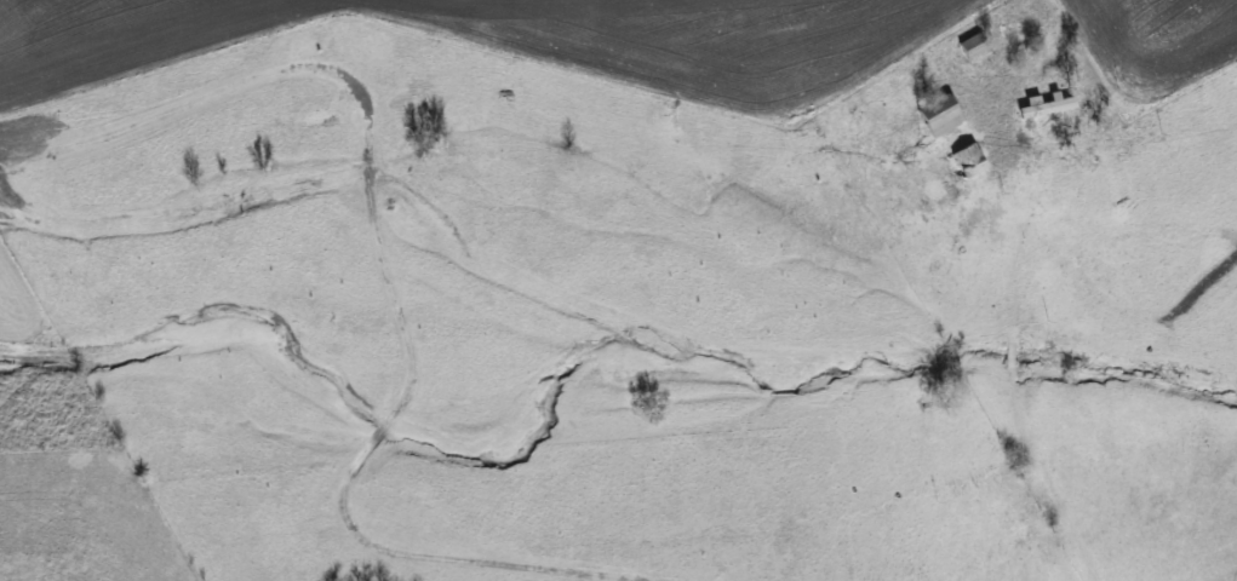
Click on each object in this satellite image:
building: (977, 53)
building: (1048, 105)
building: (939, 116)
building: (968, 161)

